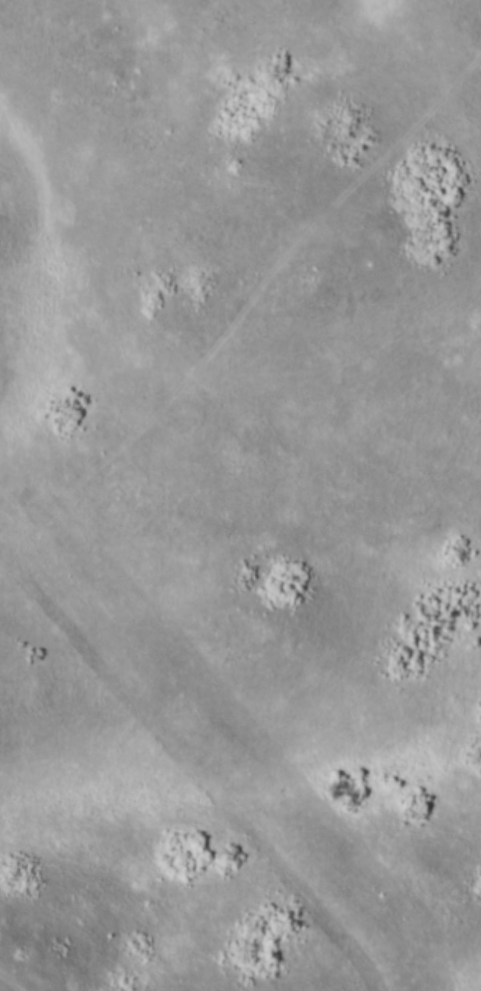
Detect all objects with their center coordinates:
road: (13, 980)

